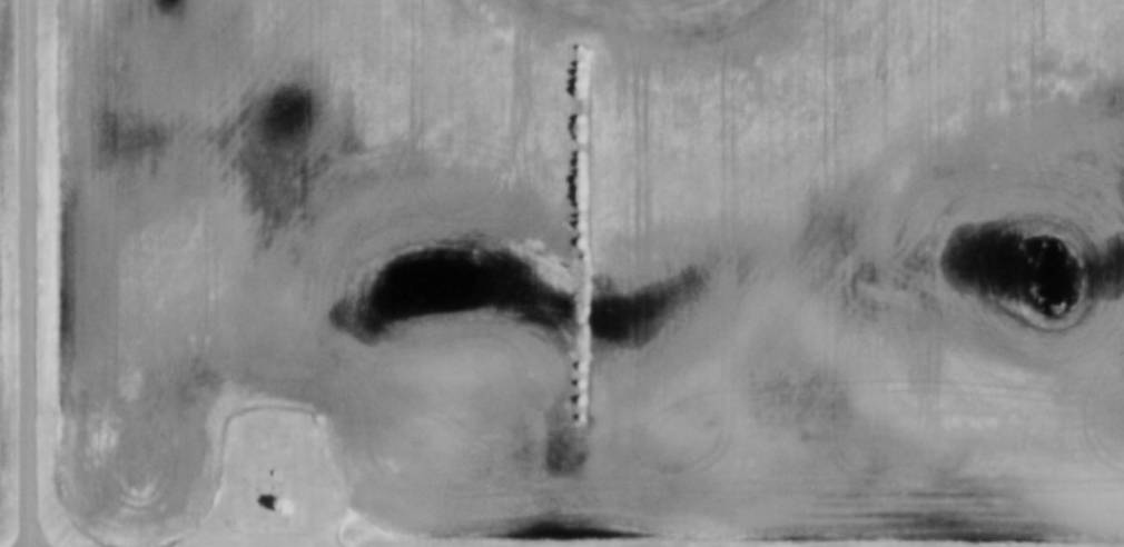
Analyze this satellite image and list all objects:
road: (29, 273)

